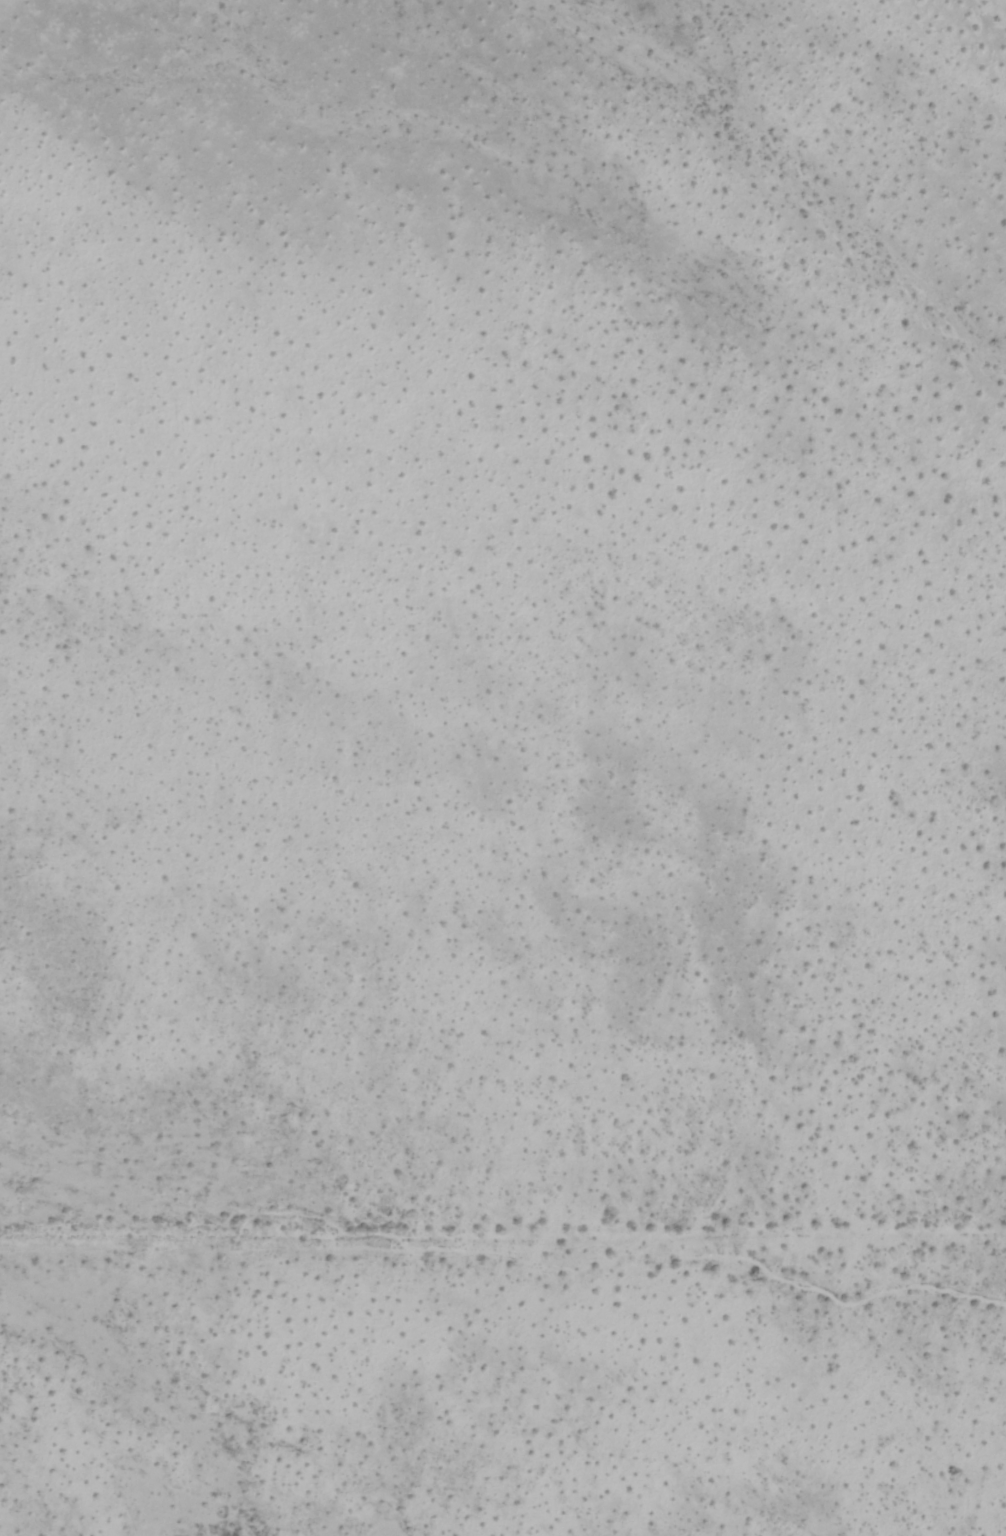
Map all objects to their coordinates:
road: (503, 1236)

